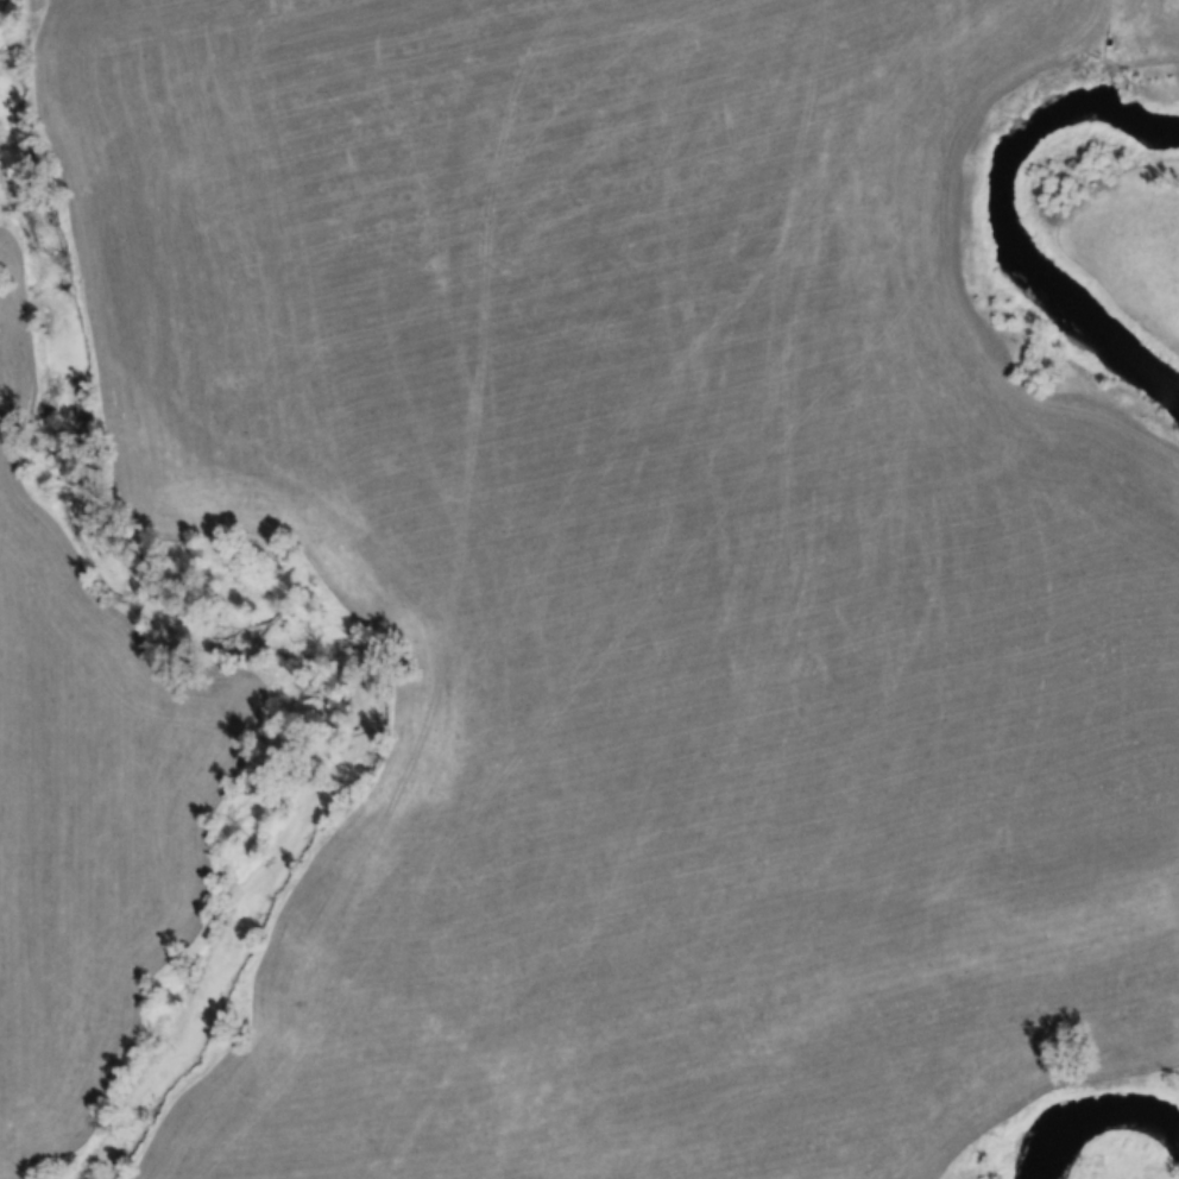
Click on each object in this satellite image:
river: (1022, 207)
river: (1090, 1115)

